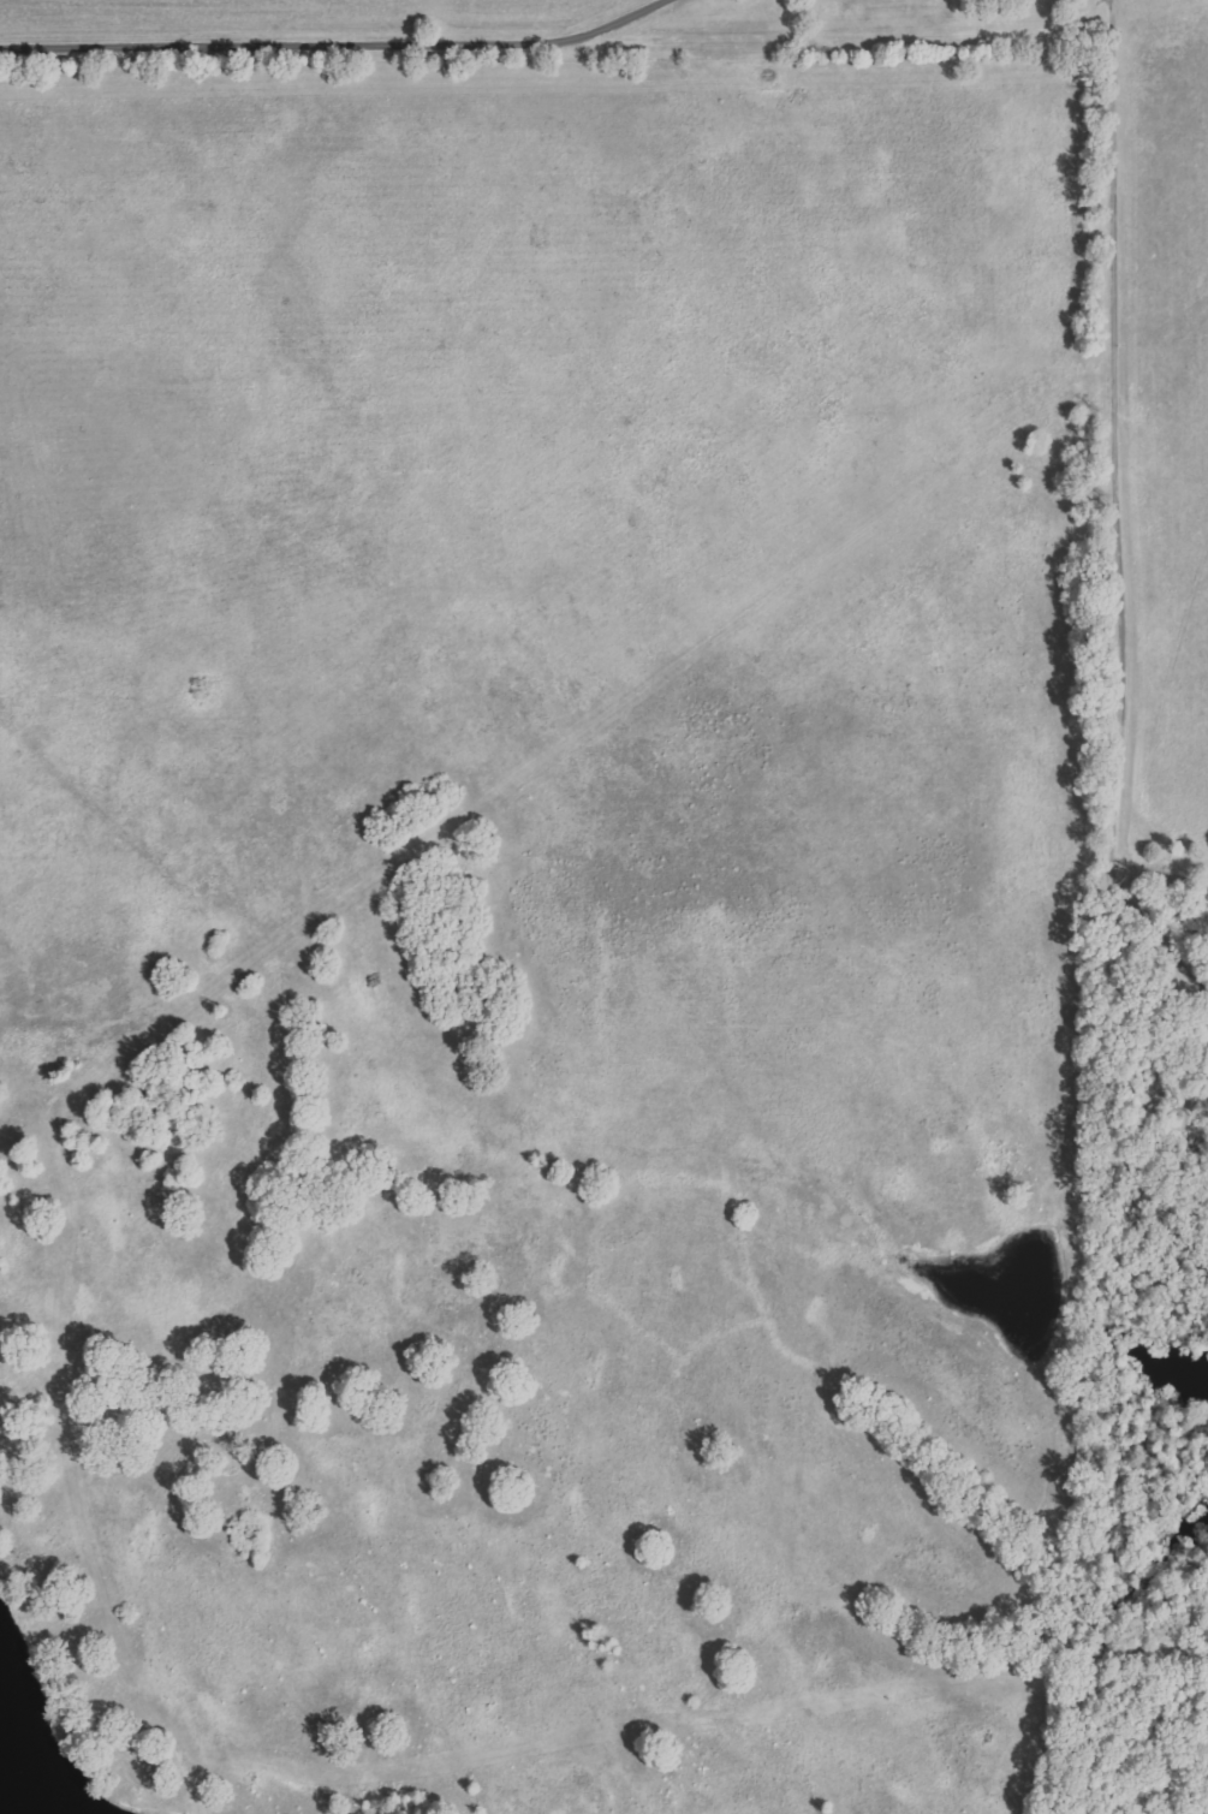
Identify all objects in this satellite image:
road: (337, 46)

